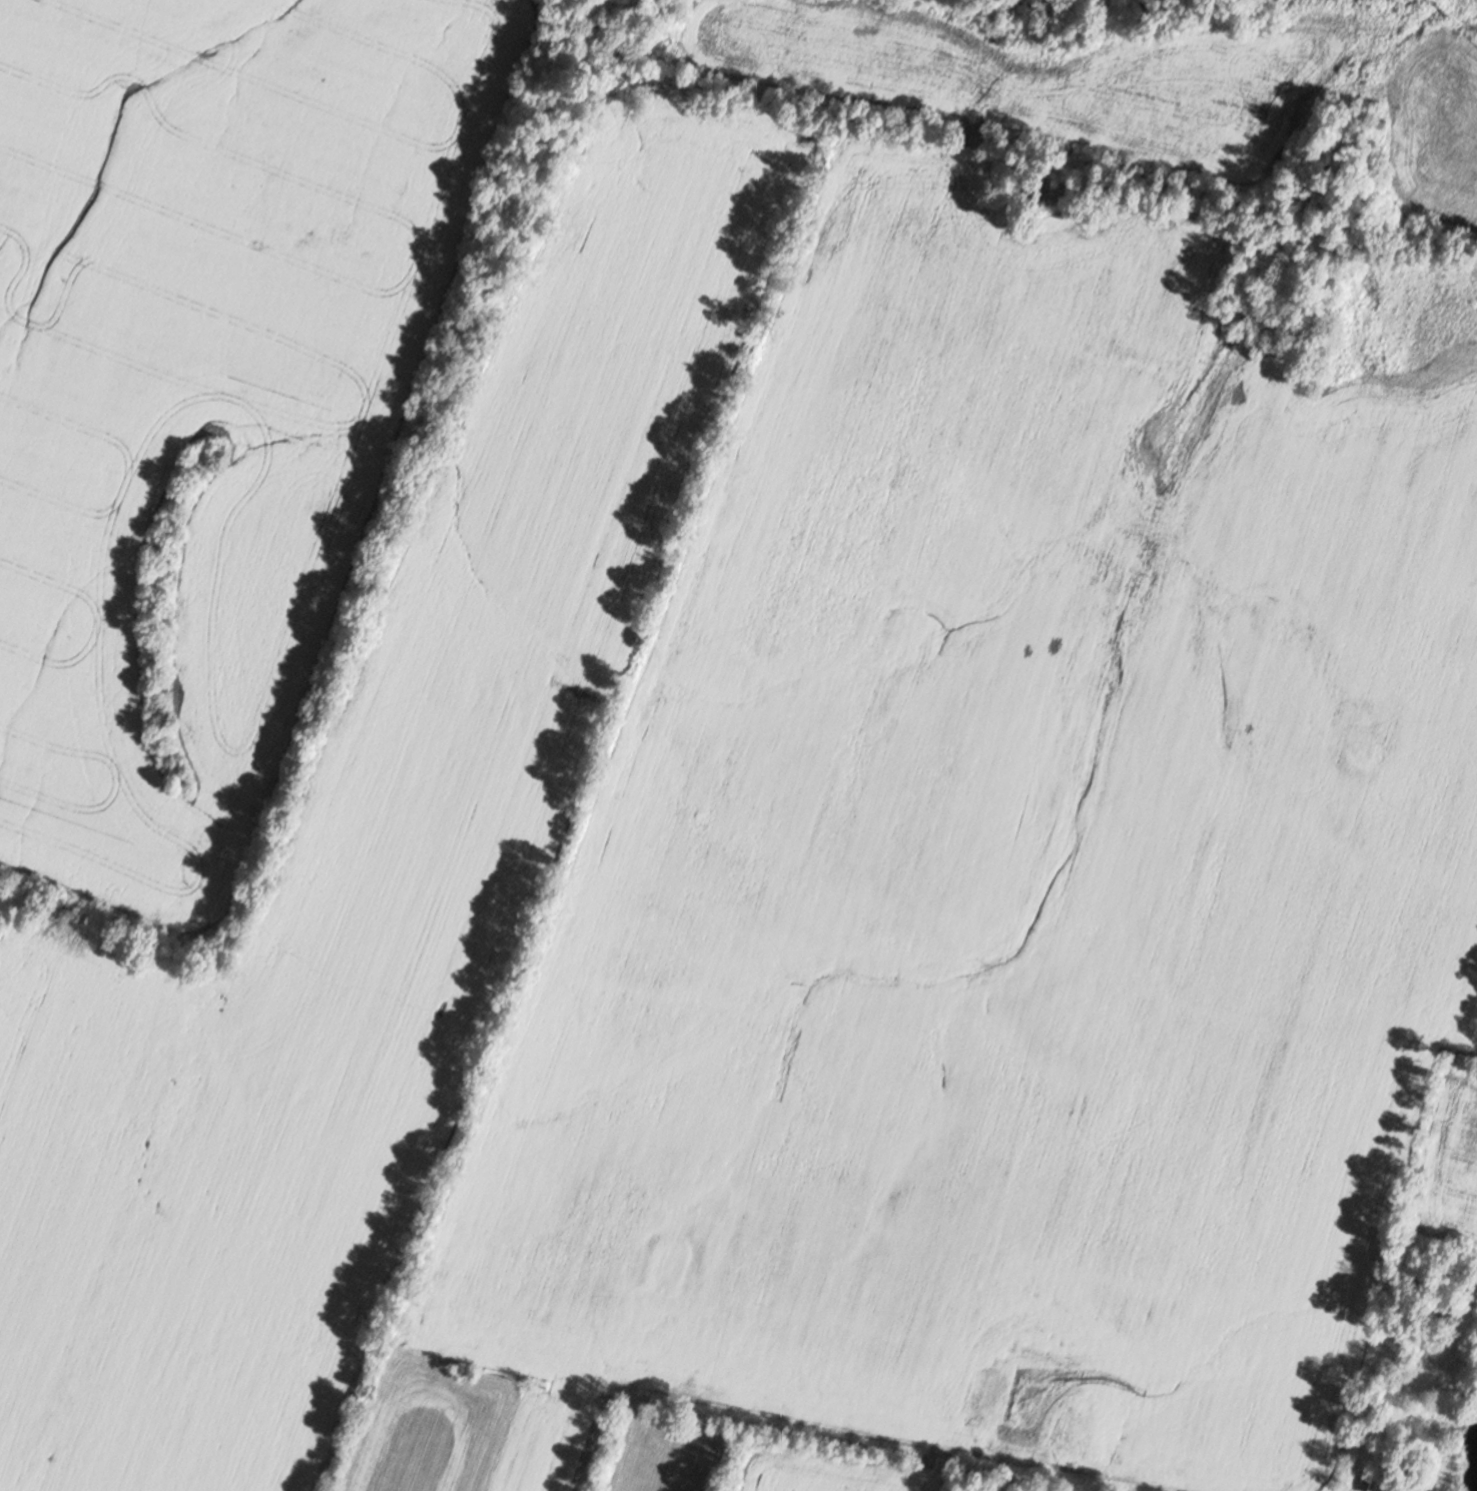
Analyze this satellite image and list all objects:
building: (1390, 1485)

